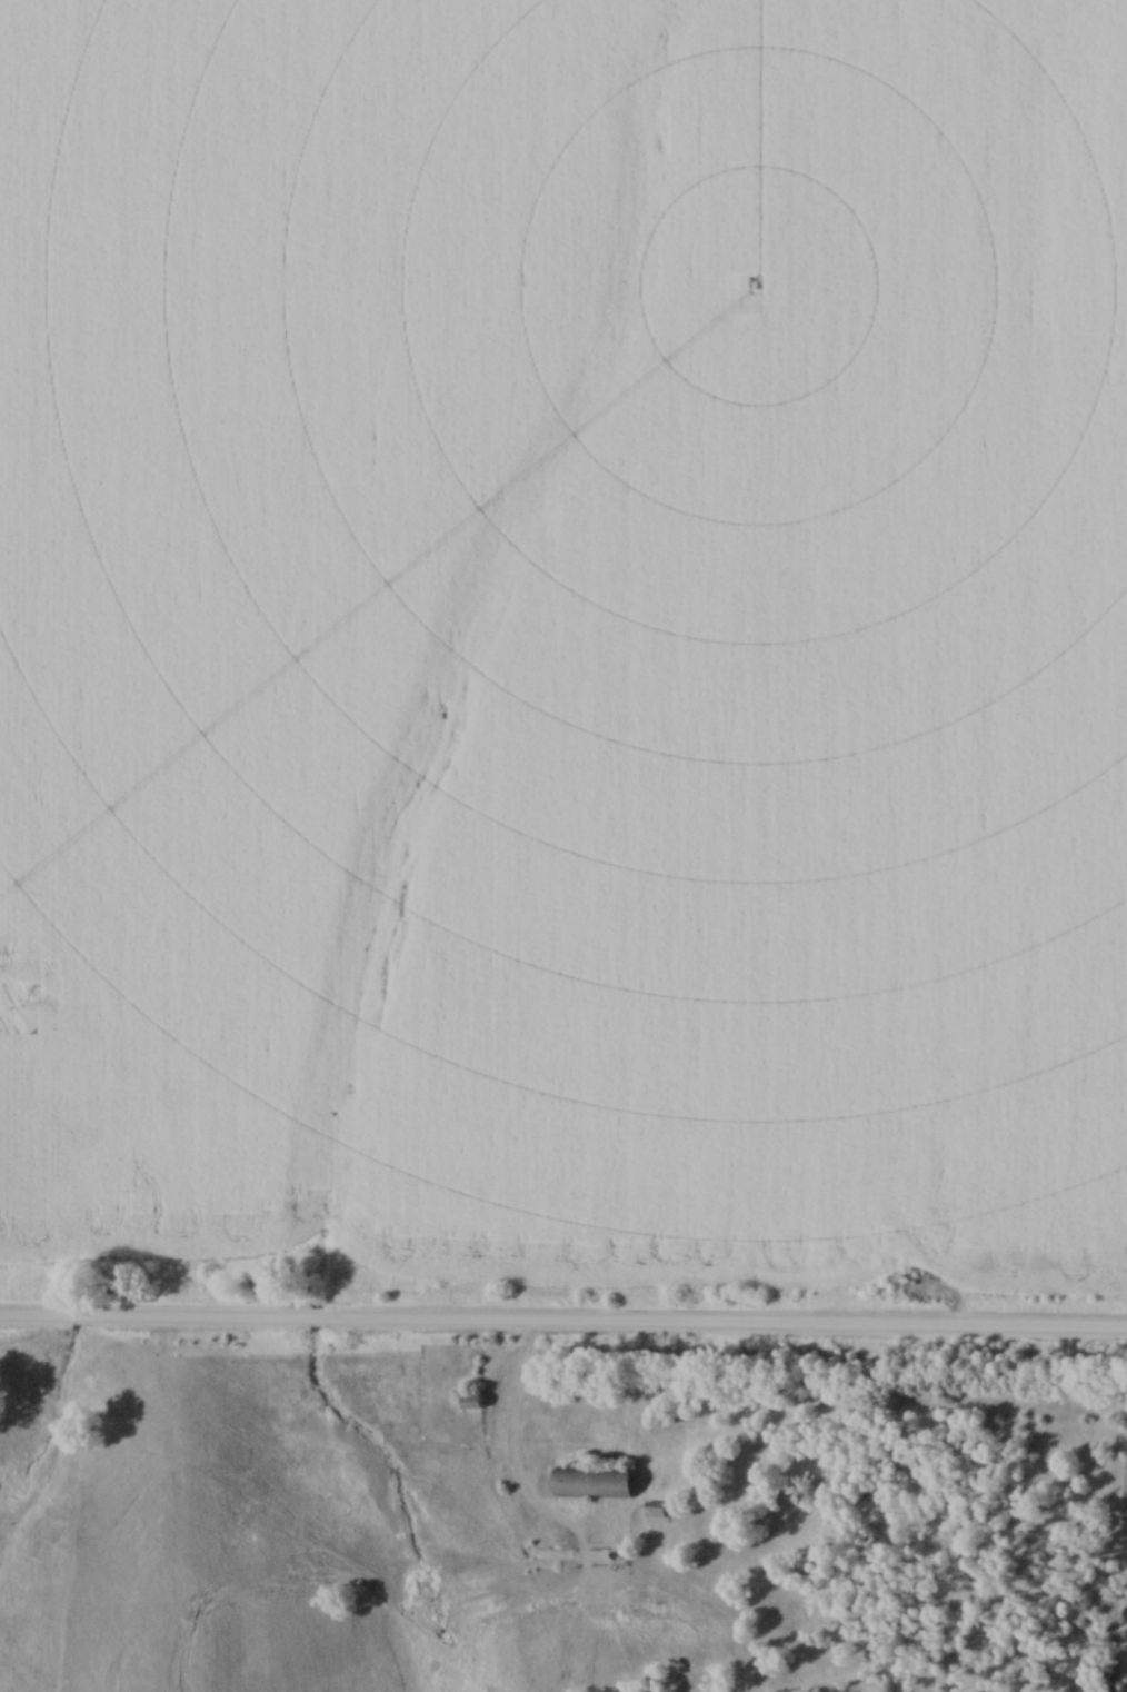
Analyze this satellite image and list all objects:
road: (563, 1325)
building: (465, 1399)
road: (505, 1446)
building: (590, 1482)

